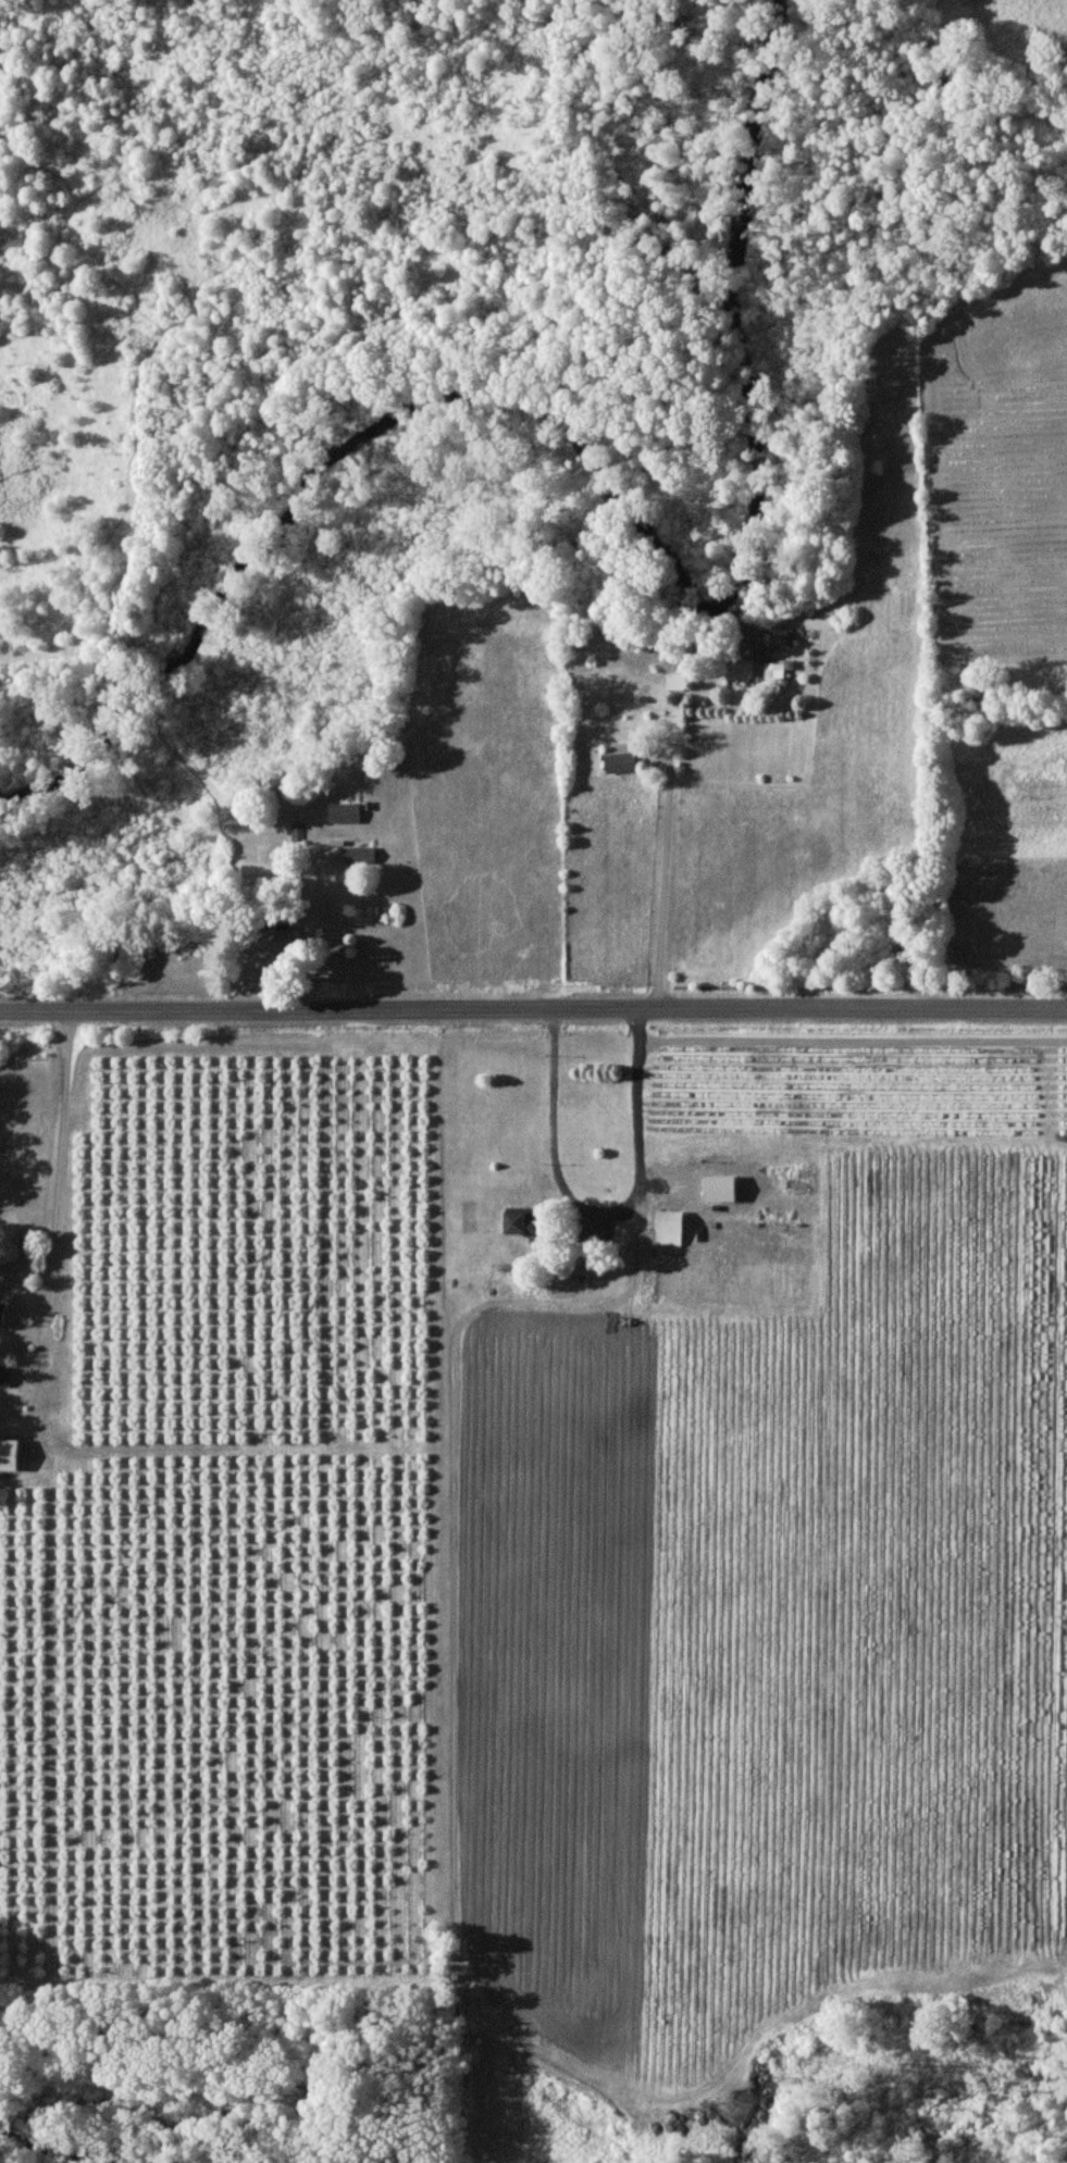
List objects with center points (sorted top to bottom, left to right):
building: (757, 661)
building: (677, 682)
building: (620, 757)
building: (345, 812)
building: (298, 831)
building: (360, 855)
road: (666, 886)
building: (276, 940)
road: (533, 1010)
building: (722, 1188)
road: (62, 1209)
road: (601, 1213)
building: (518, 1221)
building: (670, 1227)
building: (3, 1315)
building: (4, 1375)
building: (10, 1454)

